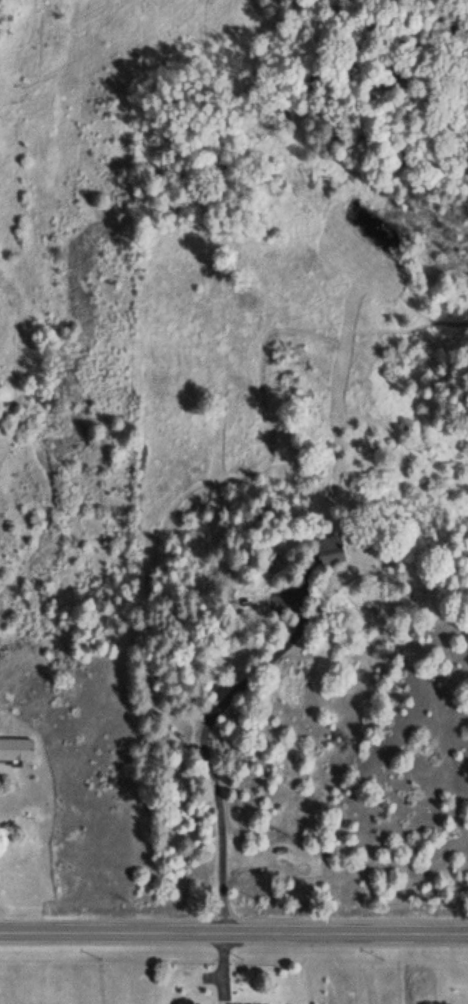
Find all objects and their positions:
building: (326, 549)
building: (15, 748)
road: (209, 765)
road: (233, 932)
road: (212, 976)

